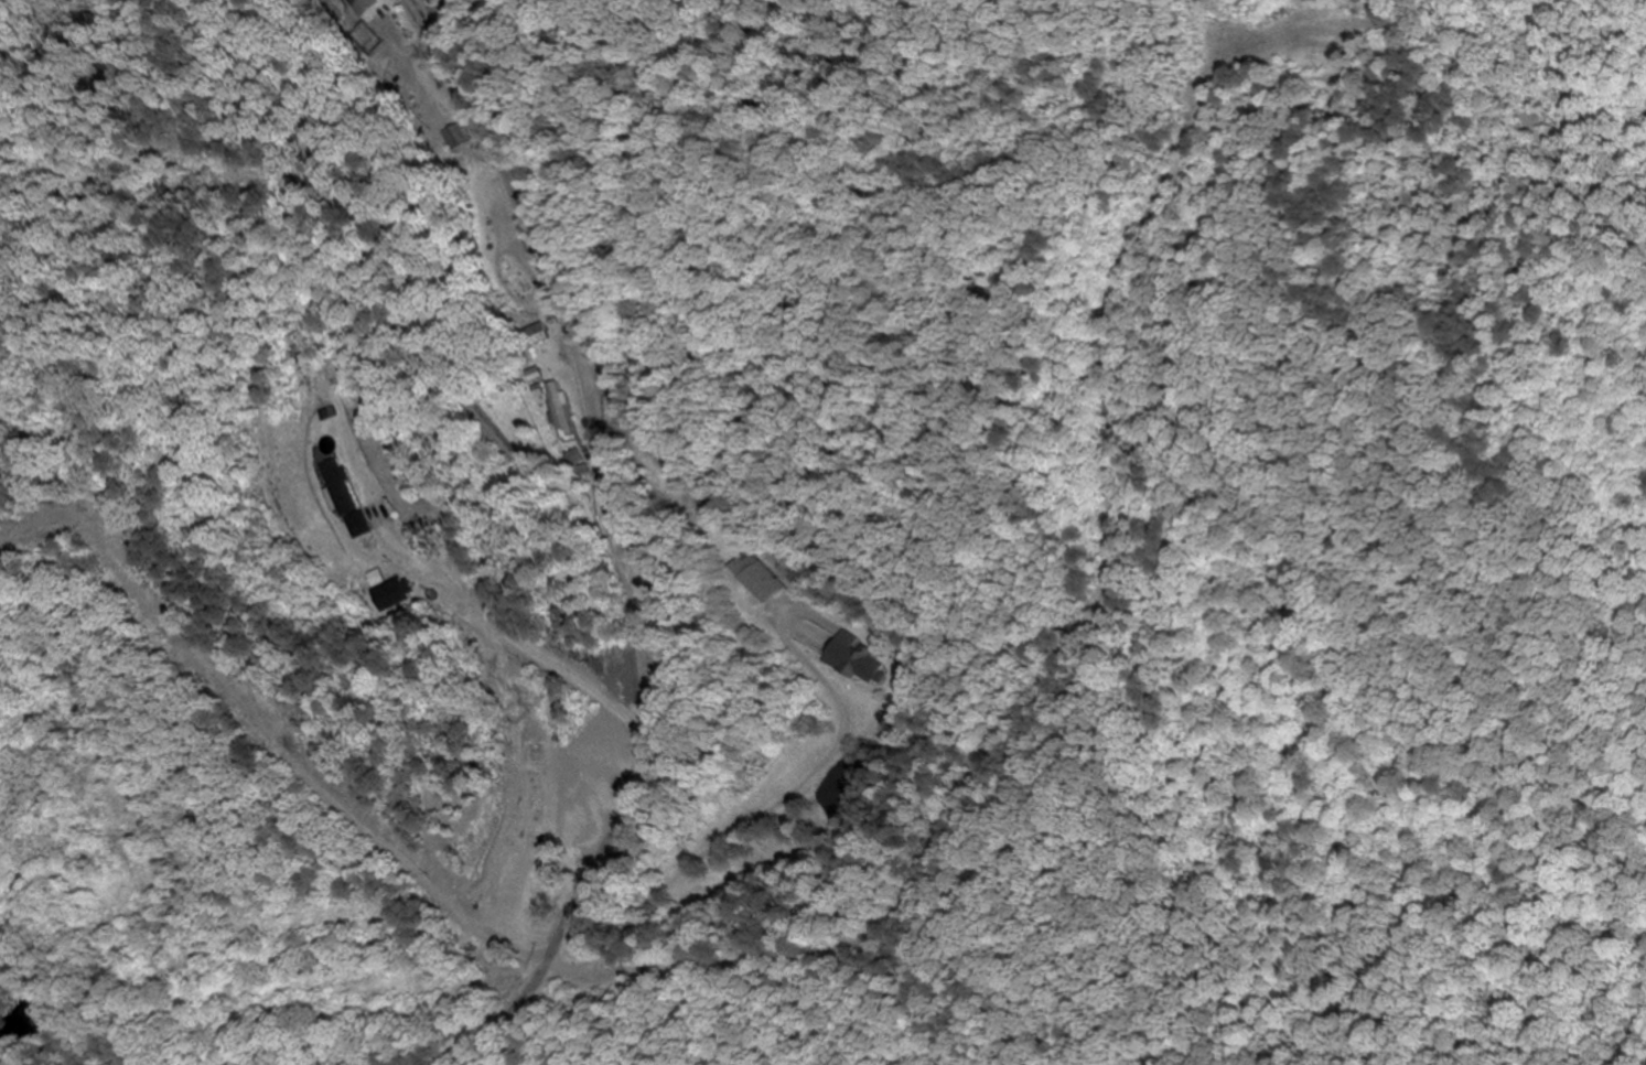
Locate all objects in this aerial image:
building: (363, 6)
building: (559, 410)
road: (926, 411)
building: (340, 497)
road: (613, 549)
building: (755, 577)
building: (841, 658)
building: (495, 869)

